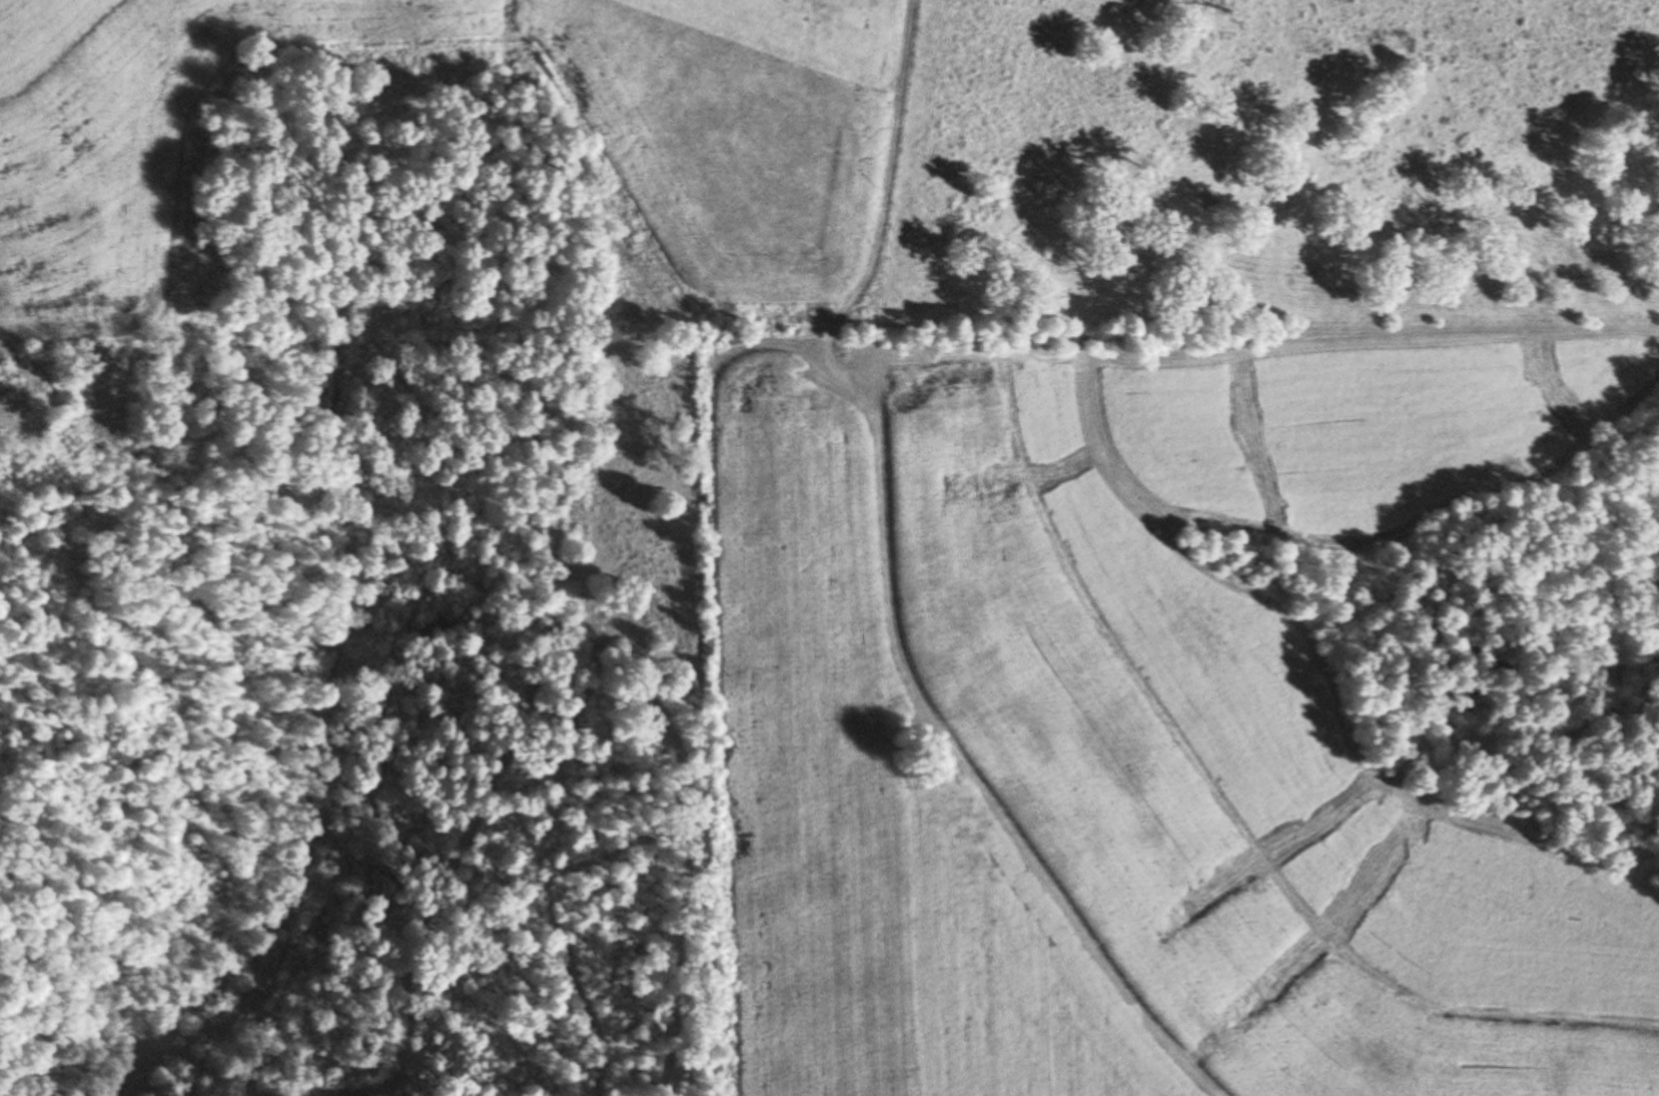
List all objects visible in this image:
crop: (737, 141)
crop: (1128, 703)
crop: (1025, 985)

